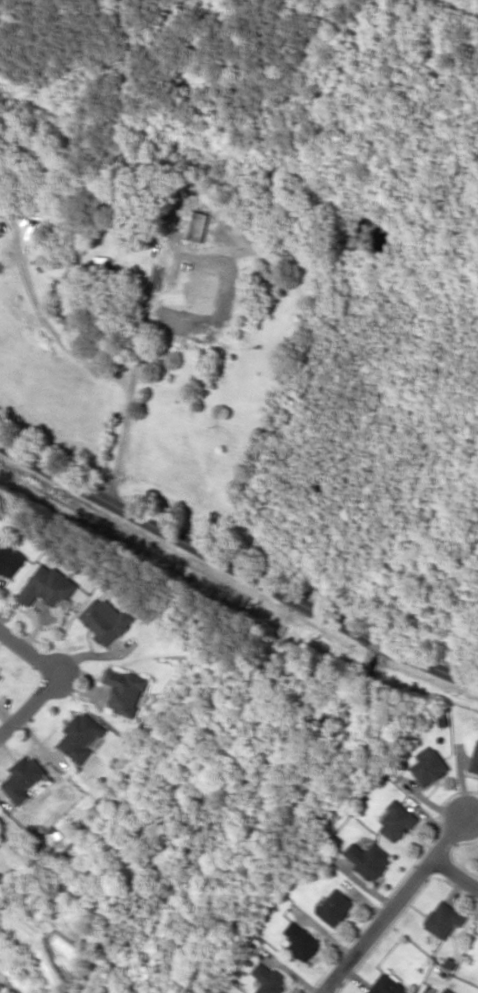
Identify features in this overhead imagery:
building: (0, 151)
building: (99, 262)
building: (201, 274)
building: (9, 559)
road: (236, 568)
building: (48, 586)
building: (105, 619)
road: (27, 651)
building: (0, 674)
building: (125, 690)
road: (28, 702)
building: (82, 736)
building: (475, 756)
building: (429, 765)
building: (24, 778)
building: (397, 821)
building: (368, 859)
road: (457, 872)
road: (399, 904)
building: (335, 906)
building: (443, 918)
building: (302, 941)
building: (269, 978)
building: (388, 985)
building: (445, 990)

